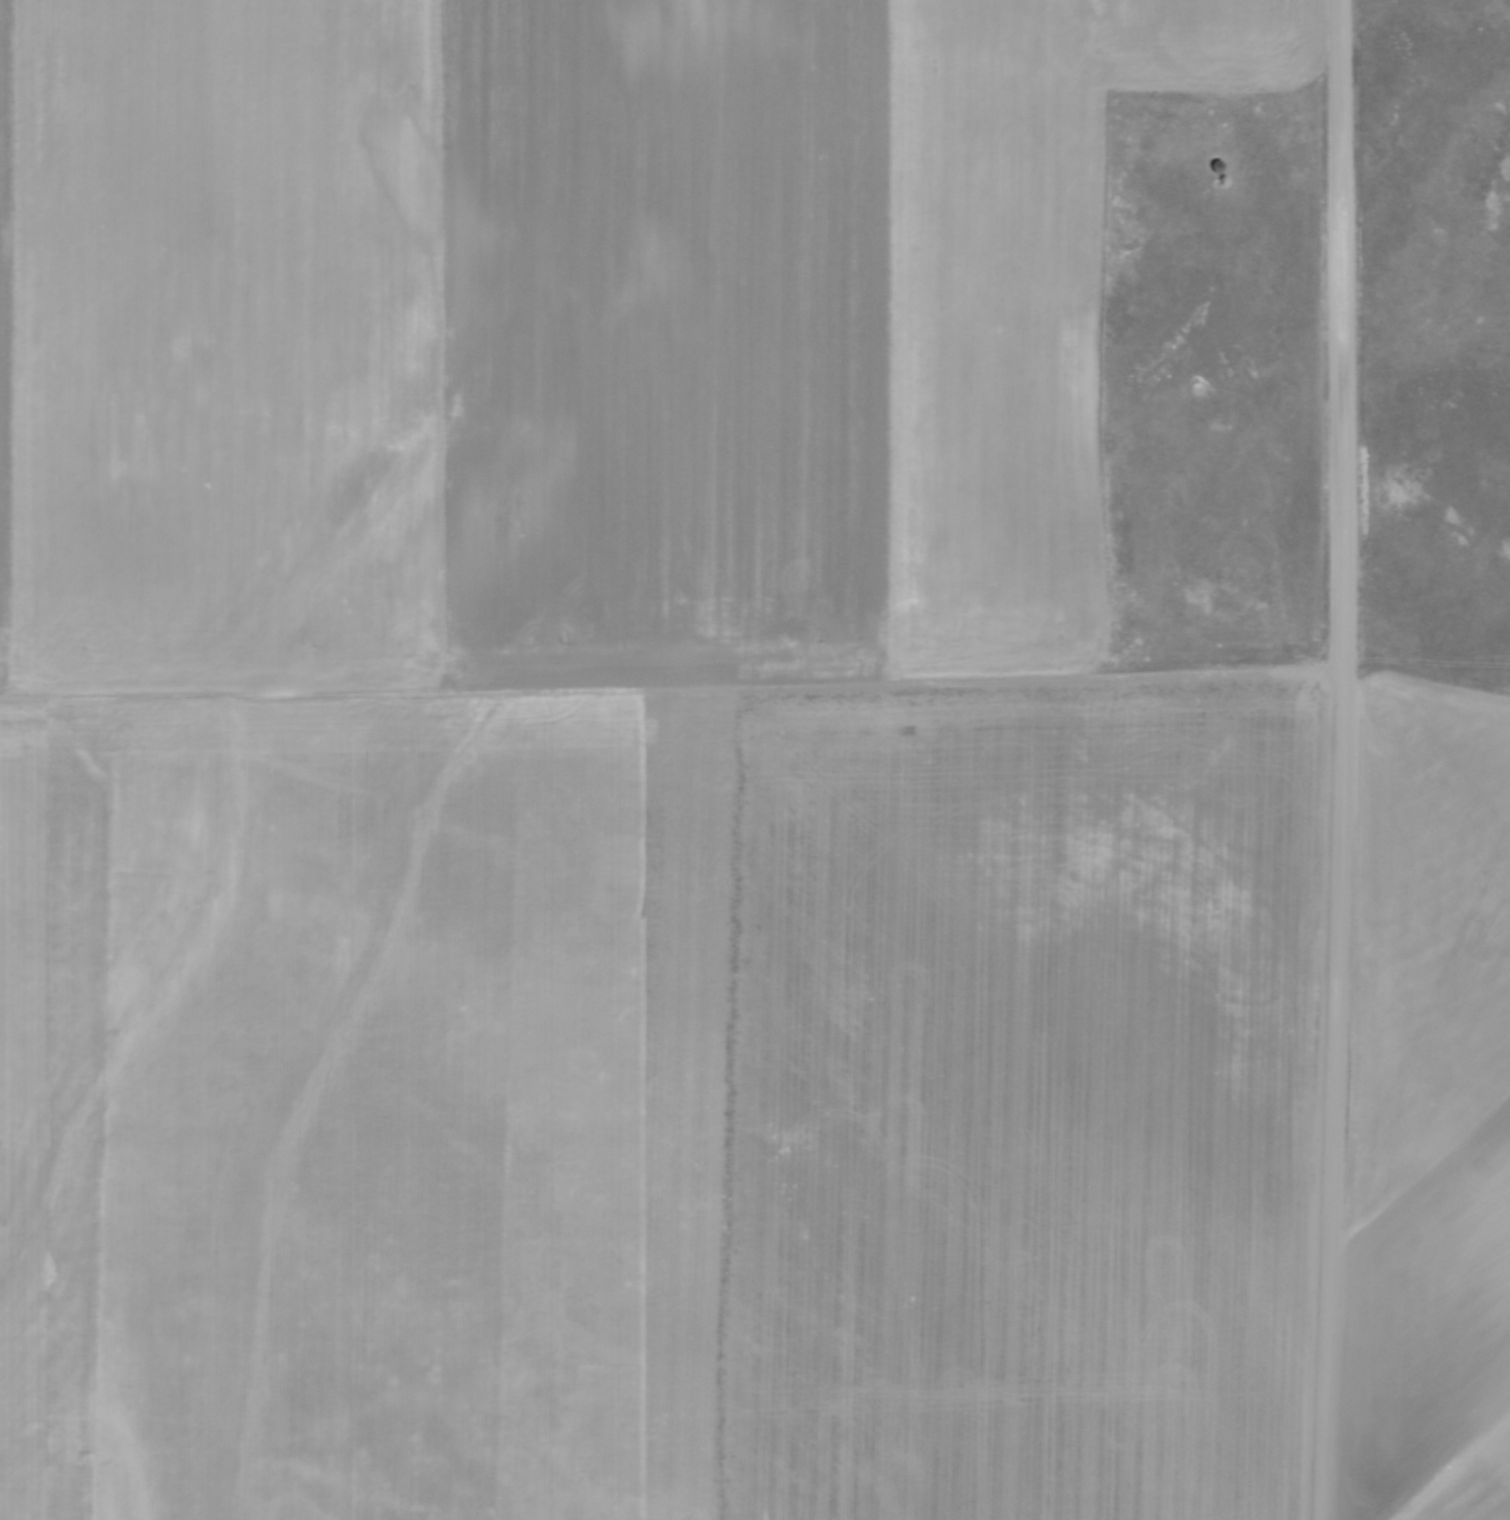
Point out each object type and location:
road: (1341, 760)
crop: (620, 783)
crop: (1428, 1111)

